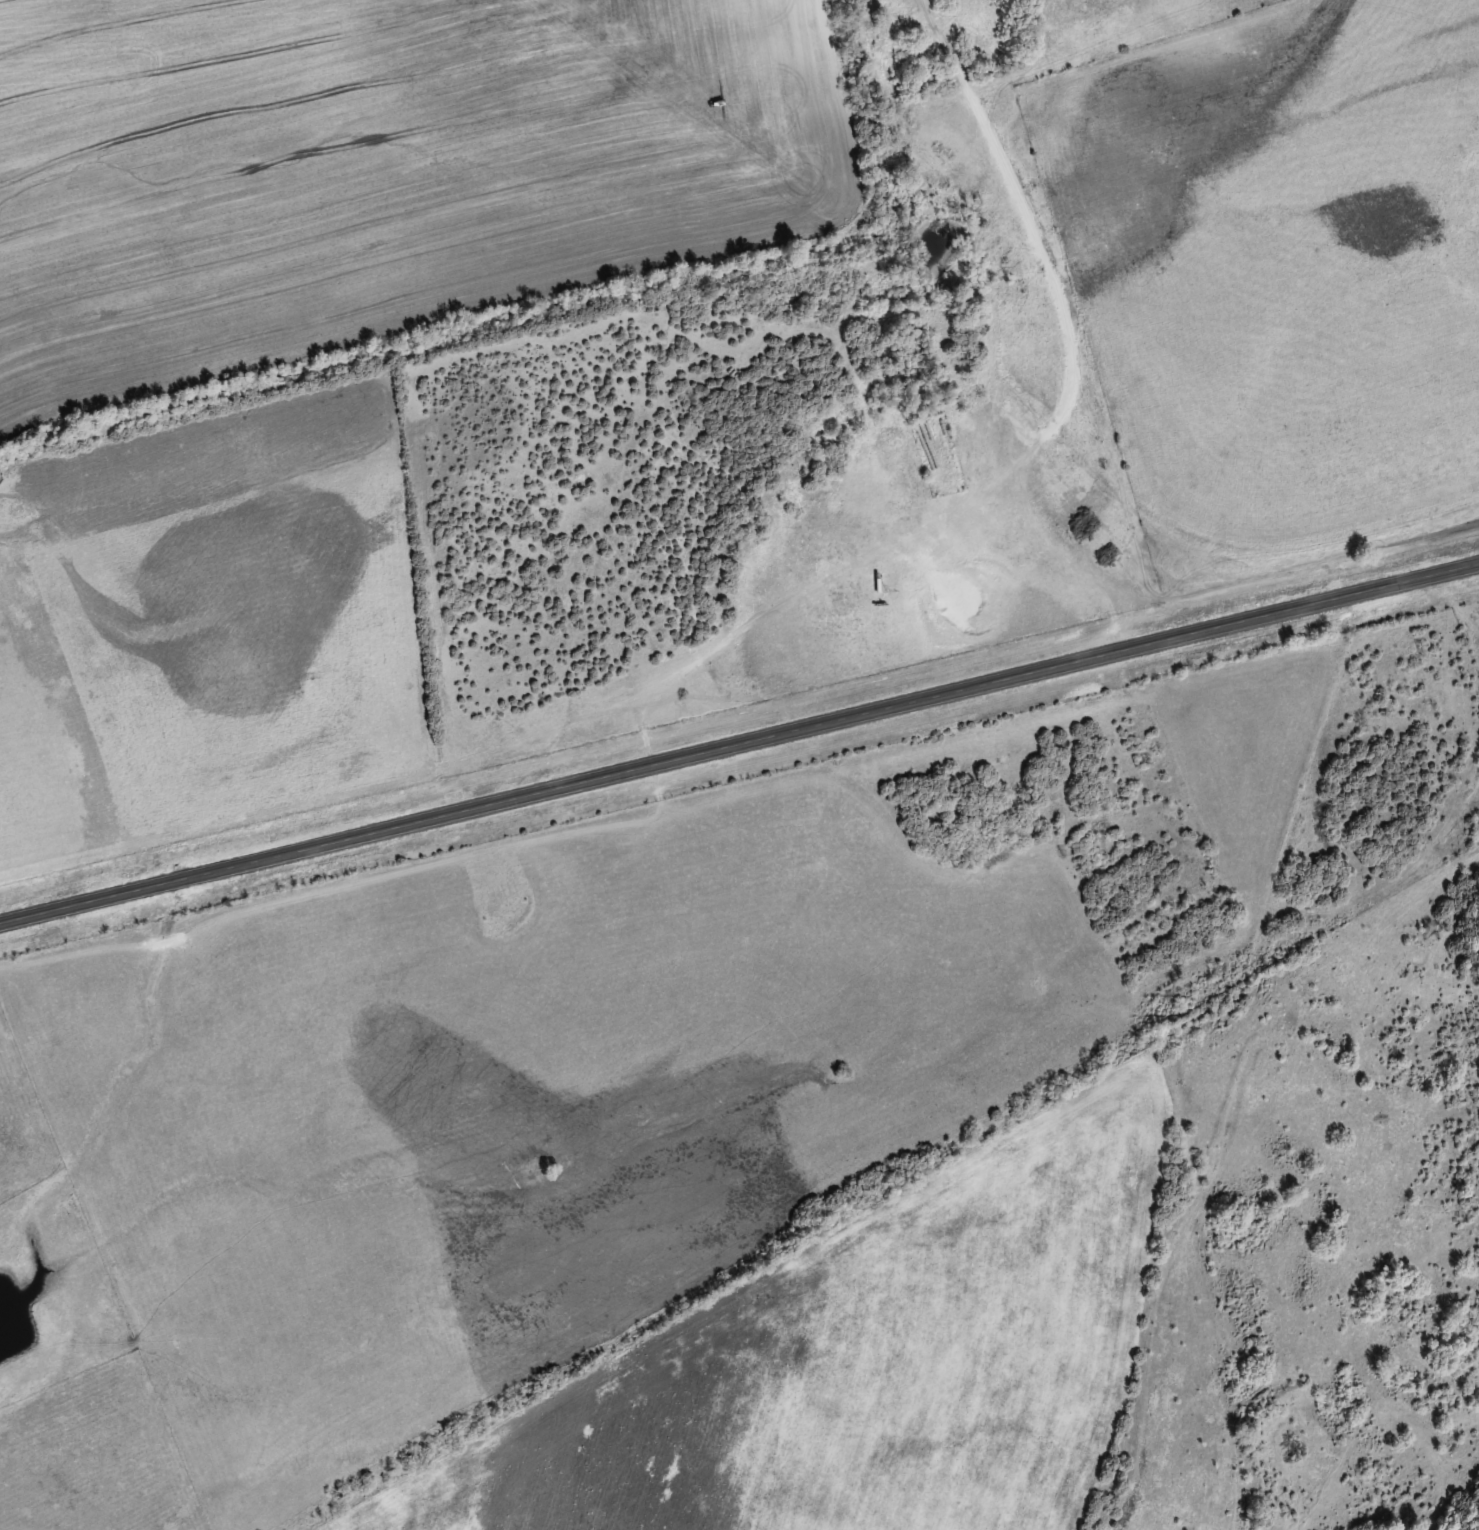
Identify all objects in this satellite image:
road: (739, 744)

